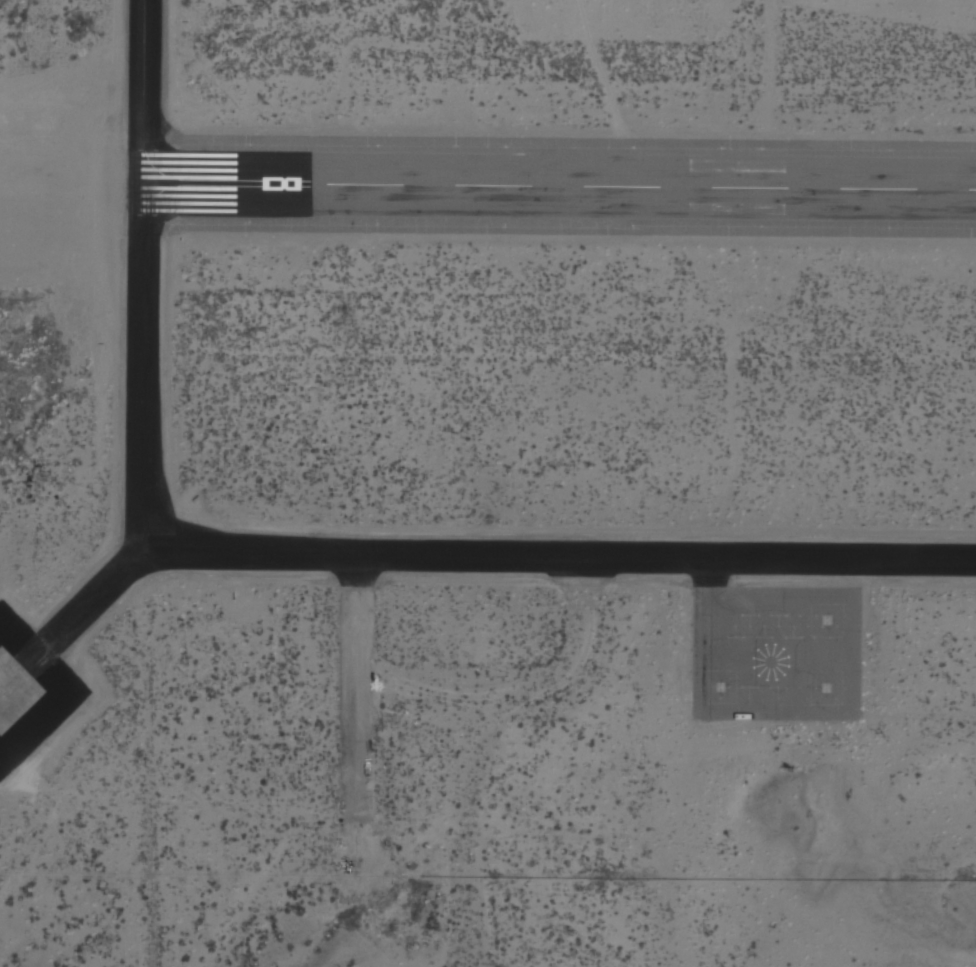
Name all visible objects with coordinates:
airport runway: (560, 169)
airport: (488, 483)
airport taxiway: (280, 553)

